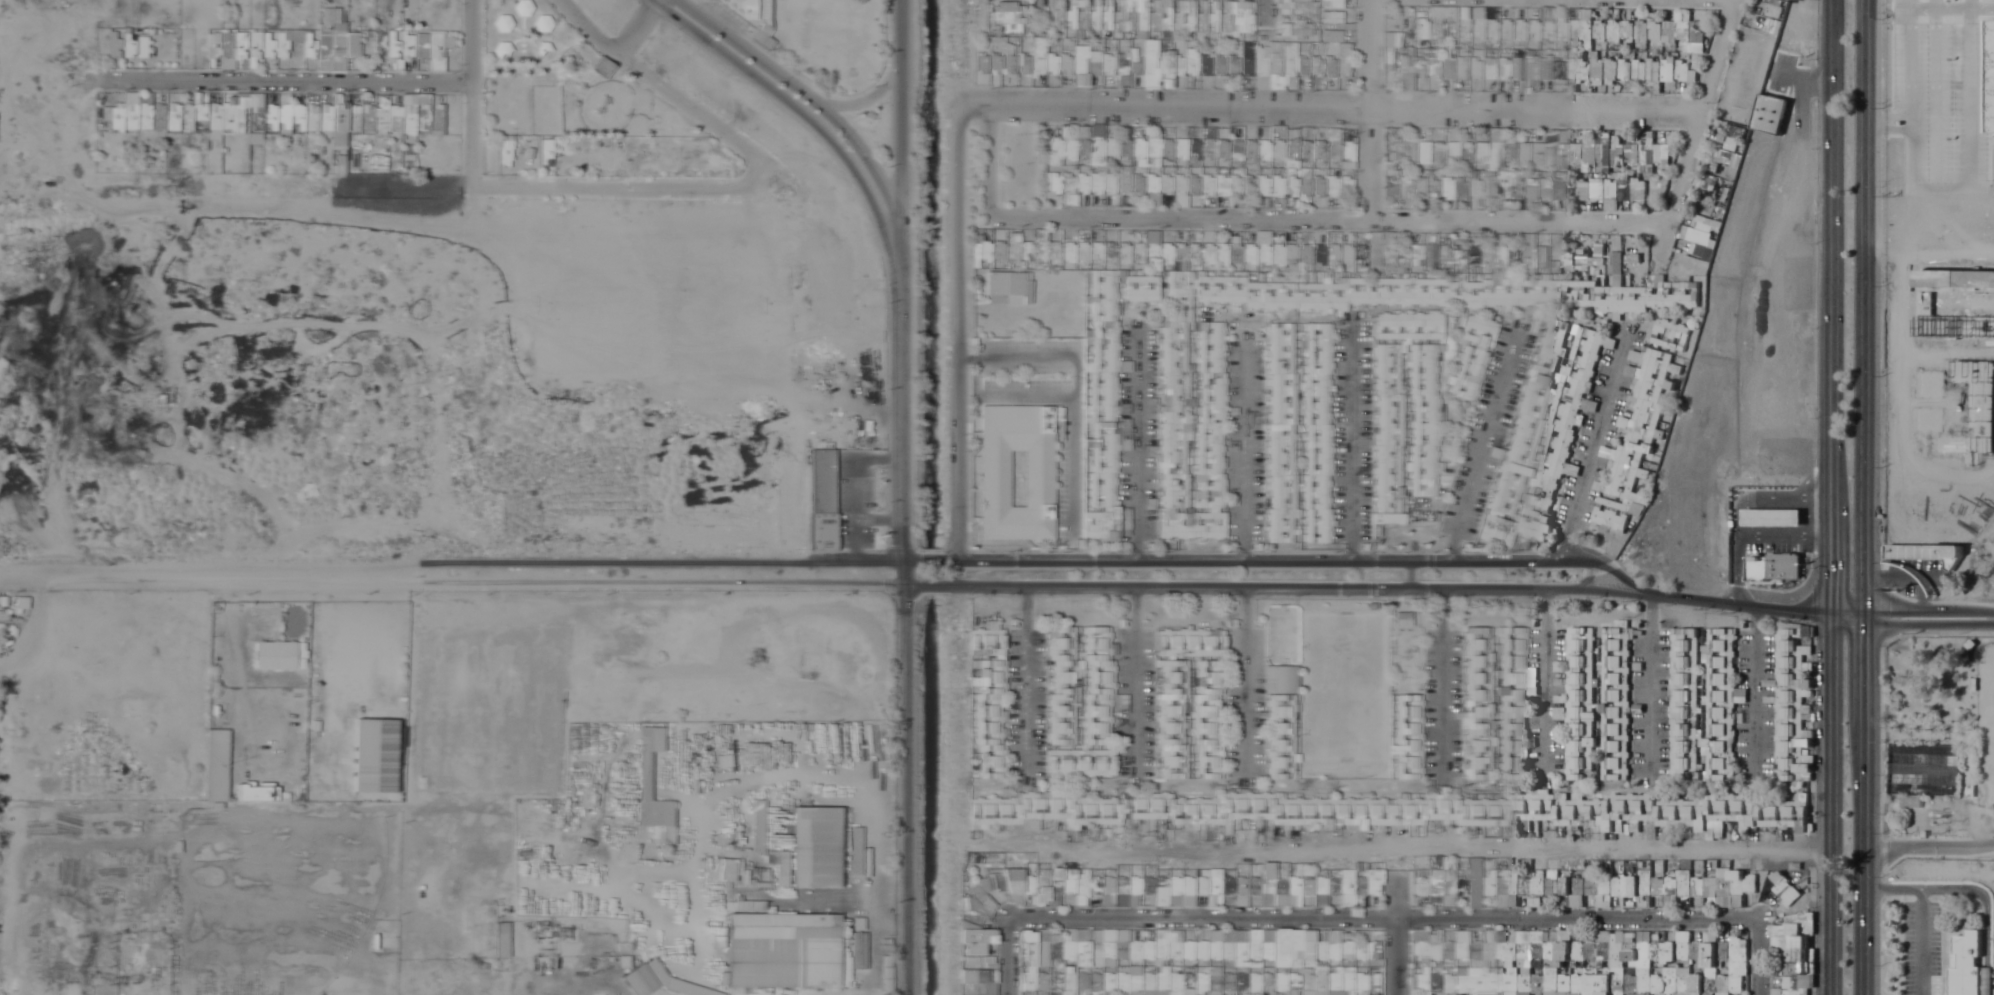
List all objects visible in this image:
gas station: (1775, 518)

